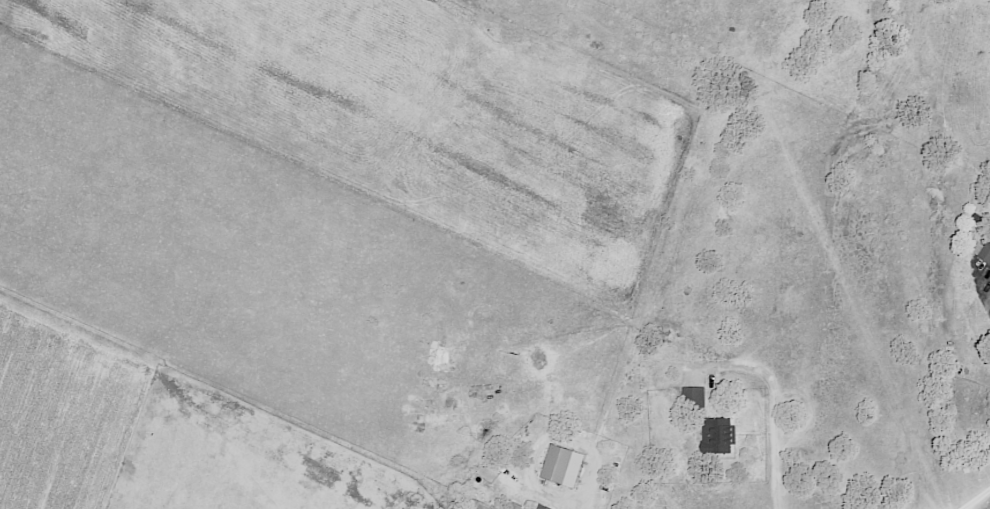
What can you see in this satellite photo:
building: (985, 252)
building: (695, 397)
road: (775, 404)
building: (717, 434)
building: (563, 465)
road: (980, 500)
road: (575, 504)
building: (542, 507)

